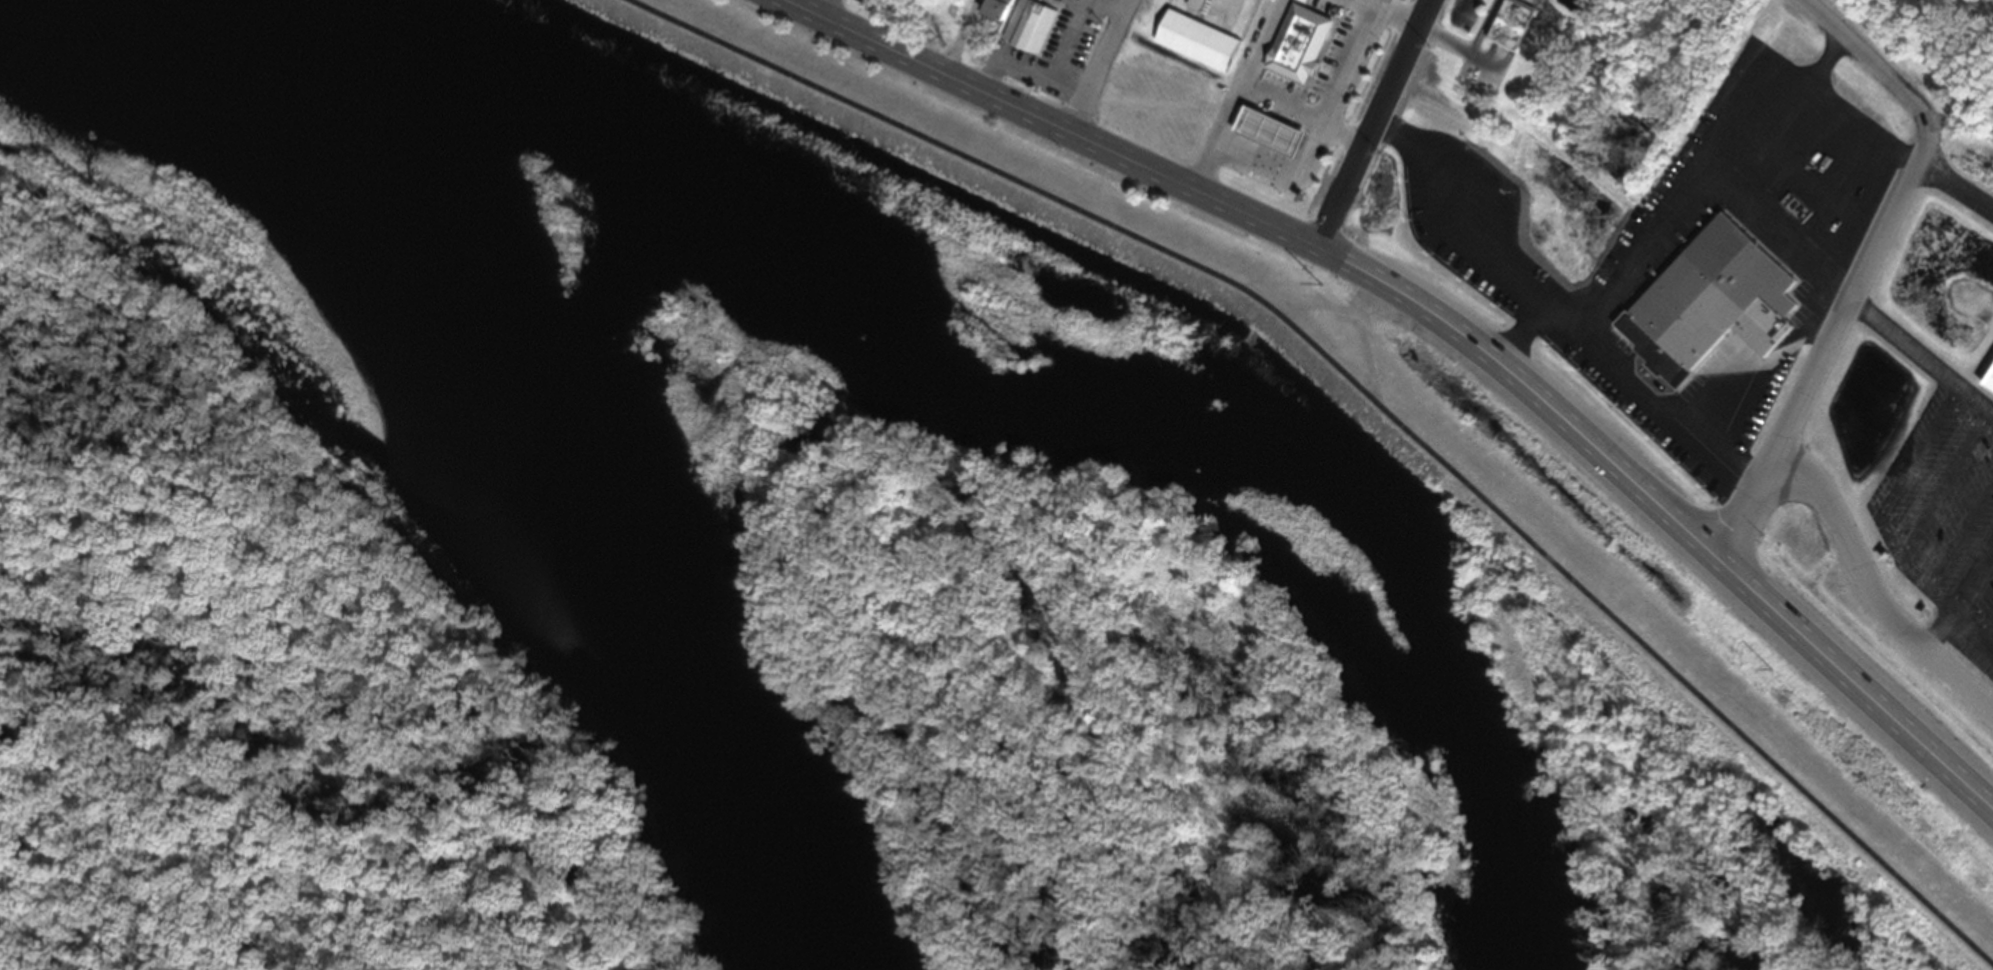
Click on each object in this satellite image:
road: (1361, 5)
road: (826, 12)
building: (996, 13)
building: (1512, 23)
building: (1034, 31)
building: (1296, 39)
road: (962, 40)
road: (1263, 46)
building: (1195, 48)
road: (1099, 69)
road: (1348, 69)
road: (1887, 80)
road: (1237, 104)
road: (1370, 126)
building: (1272, 130)
gas station: (1272, 130)
road: (1956, 185)
road: (1488, 237)
road: (1624, 271)
road: (1563, 309)
building: (1707, 310)
road: (1437, 323)
road: (1922, 354)
road: (1815, 376)
building: (1987, 393)
road: (1361, 398)
park: (1401, 452)
road: (1904, 462)
road: (1919, 577)
road: (1871, 598)
road: (1951, 610)

